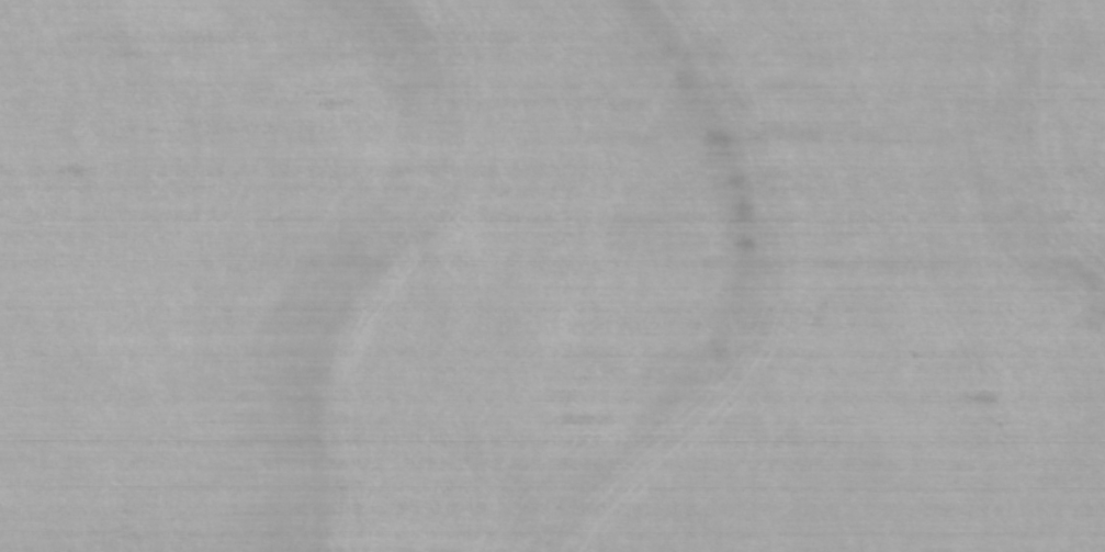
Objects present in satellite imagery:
crop: (552, 275)

